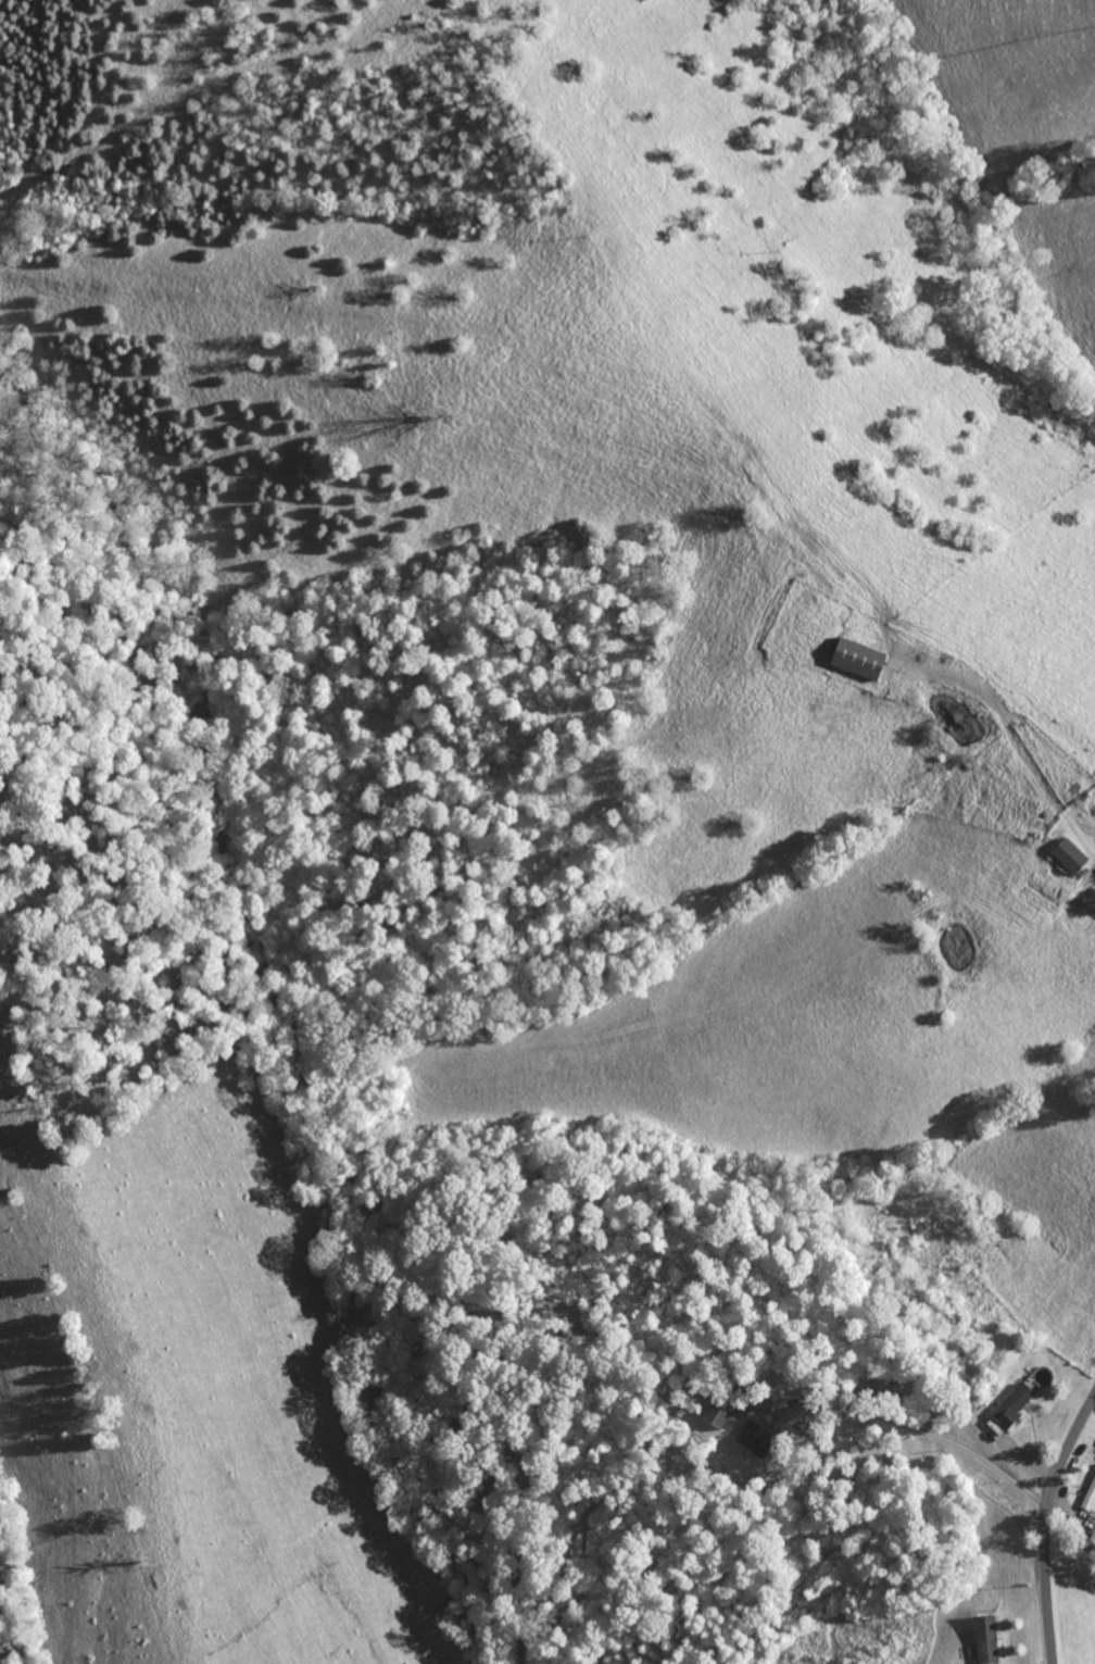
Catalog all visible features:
building: (852, 656)
building: (1065, 855)
building: (1008, 1407)
building: (713, 1414)
road: (932, 1434)
building: (746, 1436)
building: (1088, 1493)
road: (1047, 1524)
building: (981, 1639)

